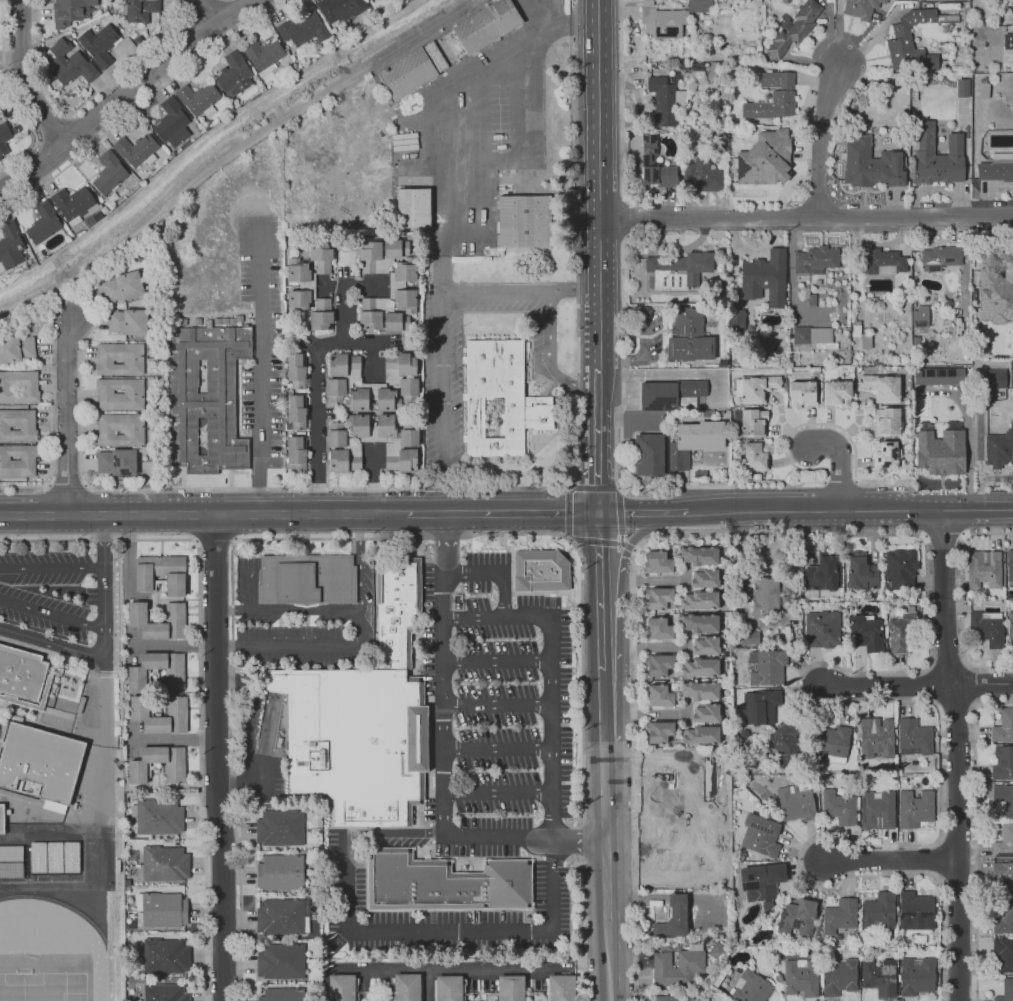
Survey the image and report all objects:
building: (785, 1)
building: (340, 8)
building: (861, 8)
building: (141, 9)
building: (70, 11)
building: (979, 12)
road: (202, 13)
building: (875, 15)
building: (669, 18)
building: (981, 22)
building: (485, 24)
building: (967, 26)
building: (303, 28)
building: (795, 28)
building: (901, 40)
building: (1008, 41)
building: (99, 44)
building: (728, 52)
building: (264, 56)
building: (69, 63)
building: (765, 64)
building: (411, 69)
building: (663, 69)
building: (234, 74)
road: (24, 78)
building: (963, 88)
building: (984, 89)
road: (427, 93)
road: (126, 94)
road: (12, 97)
building: (773, 97)
building: (199, 98)
building: (665, 100)
road: (142, 101)
road: (85, 103)
building: (172, 123)
road: (53, 126)
building: (16, 129)
road: (81, 129)
building: (753, 130)
road: (823, 136)
building: (4, 137)
building: (769, 144)
building: (501, 149)
building: (137, 150)
road: (231, 151)
building: (937, 156)
building: (981, 157)
building: (0, 158)
road: (39, 164)
parking lot: (347, 165)
building: (656, 165)
building: (871, 165)
building: (997, 167)
building: (109, 172)
building: (758, 173)
building: (704, 175)
road: (598, 184)
building: (75, 204)
building: (109, 204)
building: (412, 207)
building: (104, 210)
road: (806, 217)
building: (89, 221)
building: (44, 222)
building: (10, 246)
building: (381, 255)
building: (38, 256)
building: (321, 256)
building: (937, 258)
building: (815, 259)
building: (885, 262)
road: (963, 269)
building: (679, 270)
building: (766, 273)
building: (994, 275)
building: (723, 280)
building: (818, 282)
building: (300, 284)
building: (397, 285)
building: (123, 286)
road: (361, 290)
road: (521, 290)
building: (809, 297)
building: (947, 304)
building: (826, 309)
building: (321, 315)
road: (343, 315)
building: (382, 315)
building: (786, 316)
building: (795, 317)
building: (921, 320)
building: (128, 321)
road: (649, 335)
building: (861, 335)
building: (689, 336)
building: (815, 337)
building: (16, 349)
building: (774, 351)
building: (736, 352)
road: (550, 355)
building: (120, 358)
road: (260, 365)
building: (296, 369)
building: (342, 375)
building: (403, 375)
building: (940, 376)
building: (994, 376)
road: (317, 384)
building: (19, 386)
building: (882, 387)
building: (758, 388)
building: (120, 393)
building: (803, 393)
building: (837, 393)
building: (671, 394)
building: (206, 397)
building: (373, 398)
building: (500, 398)
building: (920, 398)
road: (444, 403)
building: (296, 411)
building: (710, 412)
road: (67, 416)
building: (751, 421)
building: (887, 421)
parking lot: (442, 424)
road: (828, 424)
building: (957, 424)
building: (17, 425)
building: (120, 429)
building: (389, 437)
road: (596, 441)
building: (695, 441)
building: (342, 449)
building: (998, 450)
building: (297, 452)
building: (649, 454)
building: (885, 454)
building: (756, 456)
building: (940, 458)
building: (17, 460)
building: (117, 462)
road: (841, 462)
building: (906, 463)
road: (374, 481)
road: (840, 481)
road: (721, 484)
road: (569, 486)
road: (339, 488)
road: (593, 488)
road: (978, 509)
road: (619, 510)
road: (774, 510)
road: (902, 510)
road: (641, 512)
road: (279, 513)
road: (501, 513)
road: (569, 513)
road: (76, 514)
traffic signals: (596, 514)
road: (358, 526)
road: (507, 534)
road: (215, 539)
road: (620, 539)
road: (569, 540)
road: (593, 540)
road: (98, 541)
road: (619, 543)
road: (441, 544)
road: (627, 547)
road: (634, 550)
building: (699, 555)
building: (657, 562)
road: (52, 565)
building: (1009, 565)
building: (982, 567)
building: (900, 568)
building: (821, 571)
building: (540, 572)
building: (860, 572)
building: (160, 573)
road: (494, 574)
building: (306, 578)
road: (687, 578)
building: (705, 578)
road: (653, 580)
parking lot: (49, 590)
road: (598, 591)
building: (765, 596)
road: (960, 597)
building: (659, 598)
building: (700, 599)
road: (620, 609)
road: (226, 610)
road: (298, 610)
building: (396, 611)
building: (651, 611)
building: (136, 612)
road: (52, 614)
building: (700, 623)
building: (1010, 624)
building: (658, 629)
building: (821, 629)
building: (986, 629)
building: (865, 632)
building: (901, 632)
road: (105, 634)
road: (173, 643)
road: (227, 644)
road: (352, 645)
road: (687, 645)
building: (706, 645)
road: (653, 647)
building: (20, 652)
road: (55, 654)
road: (496, 661)
building: (658, 664)
building: (700, 666)
building: (766, 666)
road: (550, 674)
road: (632, 675)
building: (21, 676)
building: (173, 679)
road: (984, 683)
building: (47, 684)
road: (889, 686)
building: (700, 690)
building: (659, 696)
road: (420, 699)
road: (496, 704)
road: (602, 705)
building: (760, 706)
road: (653, 713)
road: (688, 713)
building: (706, 713)
building: (160, 715)
building: (1003, 726)
building: (659, 731)
building: (701, 734)
building: (913, 736)
road: (176, 737)
building: (876, 737)
building: (1, 740)
building: (354, 741)
building: (830, 742)
building: (787, 744)
road: (497, 748)
road: (956, 754)
road: (219, 757)
road: (443, 760)
building: (40, 761)
parking lot: (481, 761)
road: (106, 762)
building: (1002, 762)
building: (137, 772)
road: (237, 786)
road: (497, 792)
building: (1004, 797)
building: (28, 798)
building: (796, 804)
building: (838, 806)
building: (914, 807)
building: (876, 810)
building: (158, 817)
building: (1, 818)
building: (279, 828)
road: (385, 832)
building: (760, 835)
road: (578, 839)
building: (408, 840)
building: (1003, 842)
building: (54, 856)
road: (890, 859)
building: (10, 860)
building: (165, 863)
road: (605, 871)
building: (280, 873)
road: (583, 873)
building: (1004, 876)
building: (761, 883)
building: (448, 884)
road: (637, 898)
road: (677, 898)
road: (708, 898)
building: (163, 909)
building: (915, 910)
building: (878, 911)
building: (839, 915)
building: (279, 917)
building: (1003, 917)
building: (673, 918)
building: (797, 918)
road: (454, 930)
track: (97, 953)
building: (1003, 954)
building: (165, 955)
building: (280, 960)
building: (676, 968)
building: (915, 975)
building: (879, 976)
building: (800, 977)
building: (838, 977)
building: (406, 986)
building: (340, 987)
building: (448, 987)
building: (509, 987)
building: (560, 987)
building: (751, 987)
building: (1005, 990)
building: (164, 992)
building: (281, 993)
building: (672, 997)

